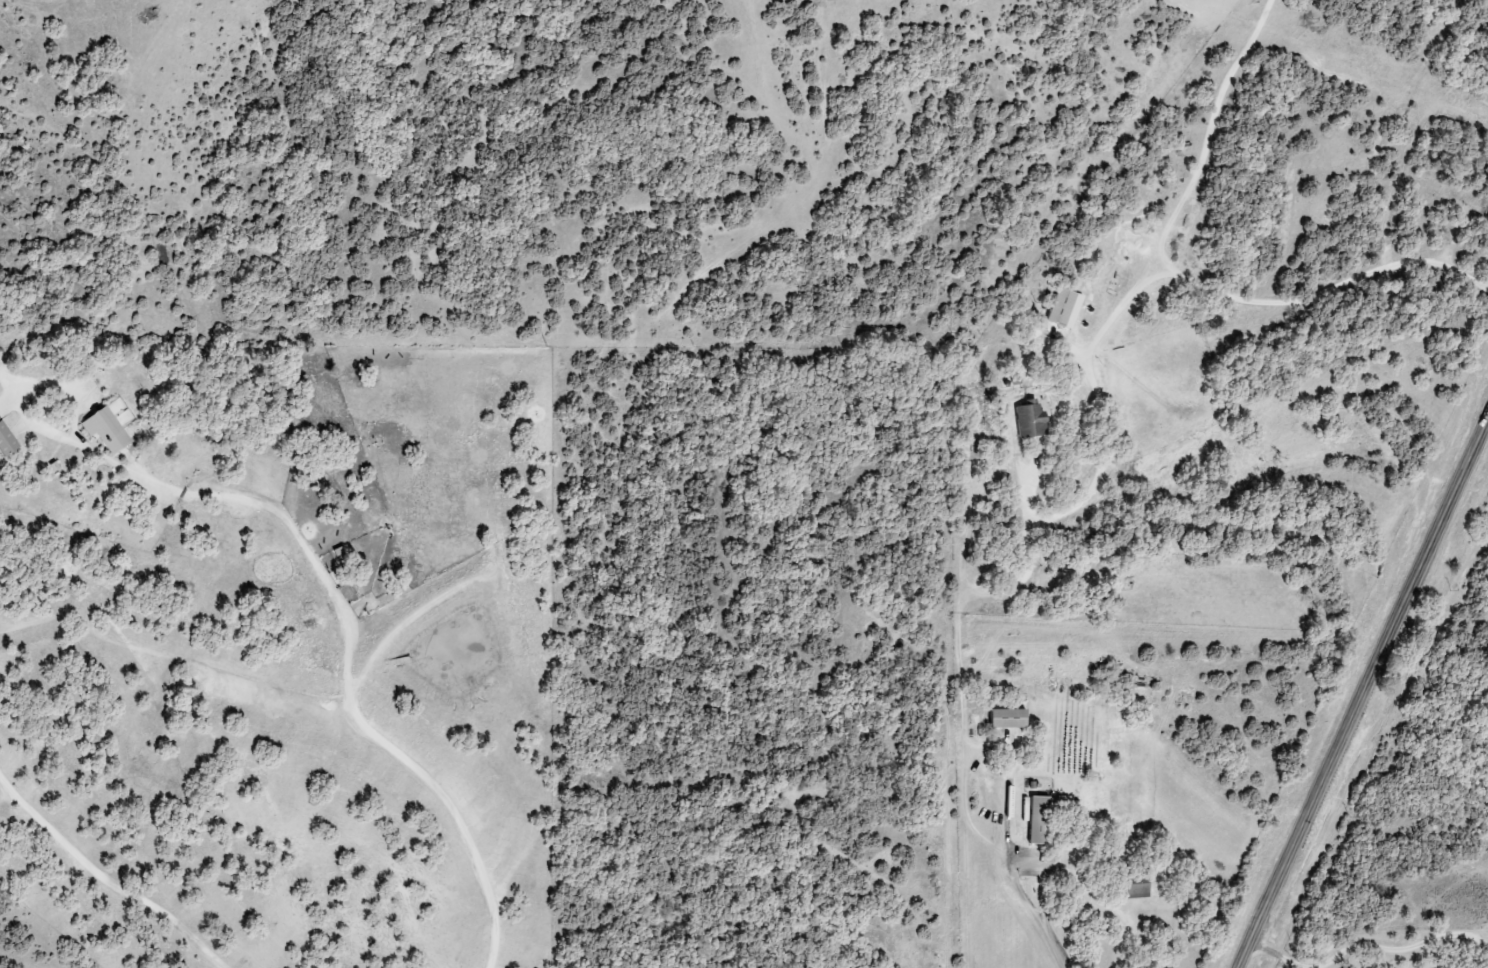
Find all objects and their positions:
road: (1181, 280)
building: (1065, 308)
building: (1031, 419)
road: (1112, 426)
building: (106, 430)
building: (7, 440)
road: (337, 599)
road: (1361, 692)
building: (1008, 718)
building: (1039, 820)
road: (1013, 865)
road: (107, 882)
road: (1364, 941)

